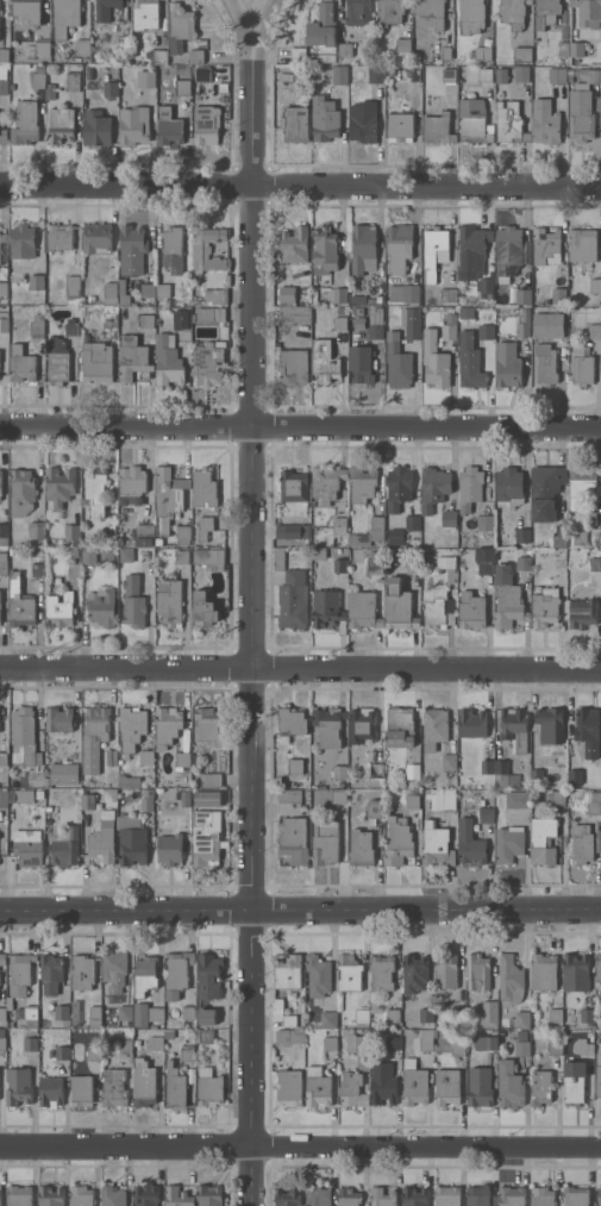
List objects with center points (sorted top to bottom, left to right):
building: (105, 8)
building: (26, 10)
building: (388, 11)
building: (0, 12)
building: (357, 12)
building: (512, 12)
building: (588, 12)
building: (144, 13)
building: (428, 13)
building: (545, 13)
building: (470, 15)
building: (70, 24)
building: (179, 26)
road: (248, 27)
road: (256, 27)
building: (318, 37)
building: (123, 43)
building: (402, 45)
building: (42, 46)
building: (563, 49)
building: (576, 49)
building: (344, 50)
building: (482, 52)
building: (521, 54)
building: (4, 55)
building: (445, 55)
building: (159, 56)
building: (195, 56)
building: (414, 57)
building: (38, 67)
building: (201, 73)
building: (338, 74)
building: (375, 74)
building: (414, 74)
building: (476, 74)
building: (521, 74)
building: (588, 74)
building: (447, 75)
building: (500, 75)
building: (558, 75)
building: (145, 79)
building: (2, 80)
building: (37, 80)
building: (71, 81)
building: (182, 87)
building: (109, 88)
building: (50, 90)
building: (580, 115)
building: (324, 119)
building: (362, 121)
building: (472, 121)
building: (509, 123)
building: (24, 124)
building: (206, 124)
building: (294, 124)
building: (60, 125)
building: (133, 125)
building: (168, 126)
building: (399, 126)
building: (545, 126)
building: (95, 129)
building: (437, 129)
building: (2, 136)
road: (300, 180)
building: (58, 236)
building: (4, 237)
building: (95, 237)
building: (21, 240)
building: (171, 242)
building: (293, 245)
building: (397, 245)
building: (545, 245)
building: (581, 246)
building: (205, 248)
building: (132, 249)
building: (362, 249)
building: (0, 250)
building: (433, 250)
building: (471, 250)
building: (324, 251)
building: (507, 252)
building: (35, 281)
building: (595, 286)
building: (71, 287)
building: (484, 287)
building: (2, 288)
building: (146, 289)
building: (161, 289)
building: (109, 293)
building: (123, 293)
building: (403, 293)
building: (338, 294)
building: (214, 295)
building: (286, 295)
building: (447, 295)
building: (558, 295)
building: (521, 296)
building: (357, 299)
building: (340, 310)
building: (465, 312)
building: (209, 313)
building: (294, 314)
building: (108, 319)
building: (143, 320)
building: (557, 320)
building: (4, 321)
building: (357, 321)
building: (338, 323)
building: (412, 323)
building: (522, 323)
building: (375, 325)
building: (36, 326)
building: (449, 326)
building: (70, 327)
building: (182, 329)
building: (593, 330)
building: (221, 331)
building: (484, 331)
building: (131, 357)
building: (56, 360)
building: (167, 360)
building: (433, 360)
building: (96, 361)
building: (324, 361)
building: (469, 362)
building: (359, 363)
building: (545, 363)
building: (20, 364)
building: (208, 364)
building: (397, 364)
building: (507, 364)
building: (581, 364)
building: (292, 365)
road: (300, 426)
building: (0, 480)
building: (326, 481)
building: (362, 483)
building: (131, 485)
building: (58, 486)
building: (293, 486)
building: (397, 486)
building: (508, 486)
building: (580, 486)
building: (202, 487)
building: (432, 487)
building: (469, 487)
building: (94, 490)
building: (544, 490)
building: (20, 492)
building: (167, 498)
building: (447, 518)
building: (594, 518)
building: (483, 521)
building: (411, 523)
building: (338, 524)
building: (375, 525)
building: (202, 527)
building: (559, 527)
building: (35, 530)
building: (70, 531)
building: (109, 531)
building: (292, 531)
building: (313, 531)
building: (2, 533)
building: (142, 533)
building: (182, 535)
building: (521, 536)
building: (578, 537)
building: (558, 539)
building: (157, 540)
building: (318, 552)
building: (125, 555)
building: (180, 555)
building: (88, 557)
building: (208, 558)
building: (278, 558)
building: (2, 562)
building: (522, 563)
building: (338, 564)
building: (412, 564)
building: (449, 564)
building: (483, 564)
building: (595, 564)
building: (374, 567)
building: (36, 569)
building: (73, 569)
building: (292, 599)
building: (506, 599)
building: (132, 601)
building: (18, 602)
building: (169, 602)
building: (100, 606)
building: (397, 606)
building: (437, 607)
building: (545, 608)
building: (58, 610)
building: (202, 610)
building: (327, 611)
building: (362, 611)
building: (470, 611)
building: (581, 613)
road: (251, 631)
road: (300, 668)
building: (58, 719)
building: (96, 723)
building: (289, 723)
building: (470, 723)
building: (167, 724)
building: (361, 724)
building: (549, 724)
building: (327, 725)
building: (131, 726)
building: (206, 726)
building: (399, 727)
building: (433, 727)
building: (513, 727)
building: (587, 730)
building: (24, 732)
building: (74, 756)
building: (111, 757)
building: (145, 757)
building: (2, 758)
building: (181, 762)
building: (447, 762)
building: (294, 766)
building: (486, 767)
building: (375, 770)
building: (339, 771)
building: (63, 773)
building: (500, 773)
building: (536, 776)
building: (574, 779)
building: (209, 780)
building: (512, 780)
building: (127, 781)
building: (112, 793)
building: (20, 795)
building: (337, 795)
building: (182, 796)
building: (2, 798)
building: (207, 798)
building: (557, 798)
building: (440, 799)
building: (515, 799)
building: (86, 800)
building: (146, 800)
building: (411, 800)
building: (288, 801)
building: (593, 802)
building: (46, 810)
building: (373, 811)
building: (484, 814)
building: (102, 837)
building: (202, 838)
building: (543, 839)
building: (130, 841)
building: (293, 841)
building: (324, 843)
building: (397, 843)
building: (469, 843)
building: (507, 843)
building: (581, 843)
building: (436, 845)
building: (64, 846)
building: (169, 848)
building: (27, 849)
building: (359, 849)
road: (300, 916)
building: (2, 958)
building: (597, 966)
building: (114, 970)
building: (81, 971)
building: (287, 971)
building: (381, 971)
building: (445, 971)
building: (543, 971)
building: (50, 973)
building: (176, 973)
building: (348, 973)
building: (413, 973)
building: (476, 973)
building: (575, 973)
building: (18, 974)
building: (144, 974)
building: (207, 976)
building: (317, 977)
building: (509, 979)
building: (73, 1005)
building: (277, 1005)
building: (61, 1012)
building: (123, 1012)
building: (187, 1012)
building: (1, 1013)
building: (30, 1013)
building: (155, 1013)
building: (456, 1013)
building: (139, 1014)
building: (424, 1014)
building: (487, 1014)
building: (553, 1014)
building: (205, 1016)
building: (361, 1016)
building: (390, 1016)
building: (586, 1016)
building: (93, 1017)
building: (327, 1019)
building: (519, 1019)
building: (74, 1020)
building: (290, 1020)
building: (167, 1033)
building: (539, 1035)
building: (204, 1036)
building: (288, 1036)
building: (1, 1038)
building: (425, 1038)
building: (451, 1041)
building: (358, 1042)
building: (124, 1043)
building: (155, 1043)
building: (328, 1043)
building: (392, 1043)
building: (484, 1043)
building: (520, 1043)
building: (29, 1044)
building: (553, 1044)
building: (582, 1046)
building: (61, 1052)
building: (93, 1052)
building: (186, 1052)
building: (597, 1077)
building: (572, 1082)
building: (143, 1083)
building: (413, 1083)
building: (509, 1085)
building: (17, 1086)
building: (113, 1087)
building: (174, 1087)
building: (208, 1087)
building: (288, 1087)
building: (317, 1087)
building: (446, 1087)
building: (478, 1087)
building: (539, 1087)
building: (382, 1089)
building: (80, 1091)
building: (351, 1091)
building: (50, 1092)
road: (300, 1149)
building: (145, 1194)
building: (18, 1195)
building: (80, 1195)
building: (112, 1195)
building: (208, 1195)
building: (317, 1195)
building: (445, 1195)
building: (511, 1195)
building: (50, 1196)
building: (176, 1196)
building: (287, 1196)
building: (348, 1196)
building: (381, 1196)
building: (414, 1196)
building: (480, 1196)
building: (541, 1196)
building: (576, 1196)
building: (600, 1198)

